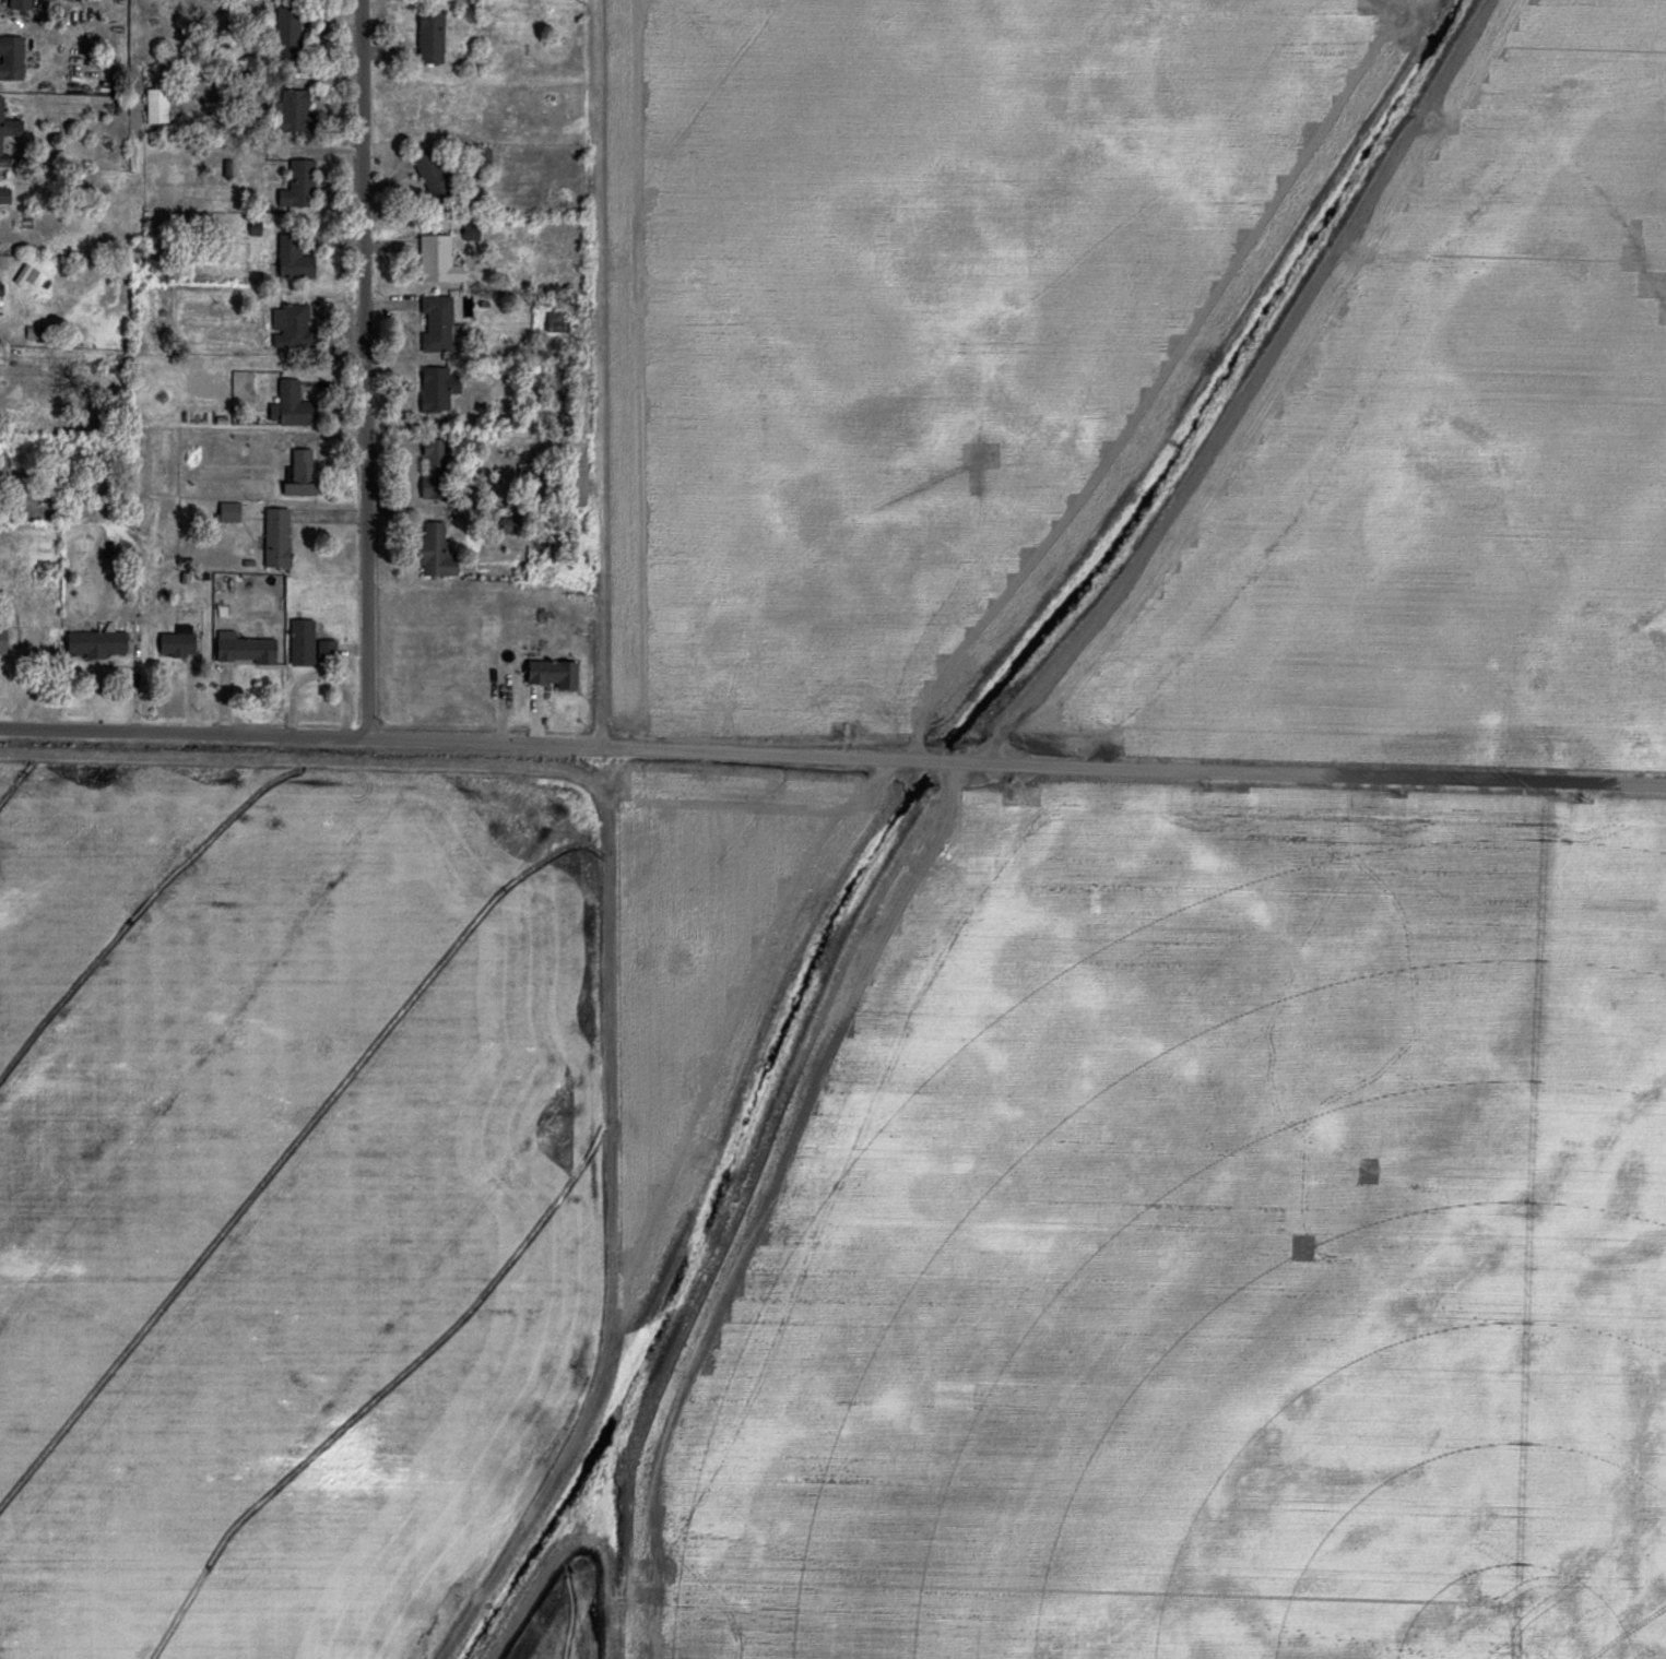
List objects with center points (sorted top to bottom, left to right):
building: (20, 4)
building: (287, 27)
building: (430, 37)
building: (11, 58)
building: (156, 106)
building: (292, 111)
building: (8, 134)
building: (430, 174)
building: (297, 186)
building: (4, 195)
building: (470, 232)
building: (293, 258)
building: (437, 259)
building: (555, 321)
building: (436, 322)
building: (290, 325)
road: (365, 366)
building: (437, 388)
building: (291, 405)
building: (433, 470)
building: (300, 473)
building: (228, 511)
building: (276, 536)
building: (434, 550)
building: (2, 640)
building: (302, 640)
building: (96, 641)
building: (178, 641)
building: (245, 648)
building: (326, 648)
building: (553, 673)
road: (832, 753)

